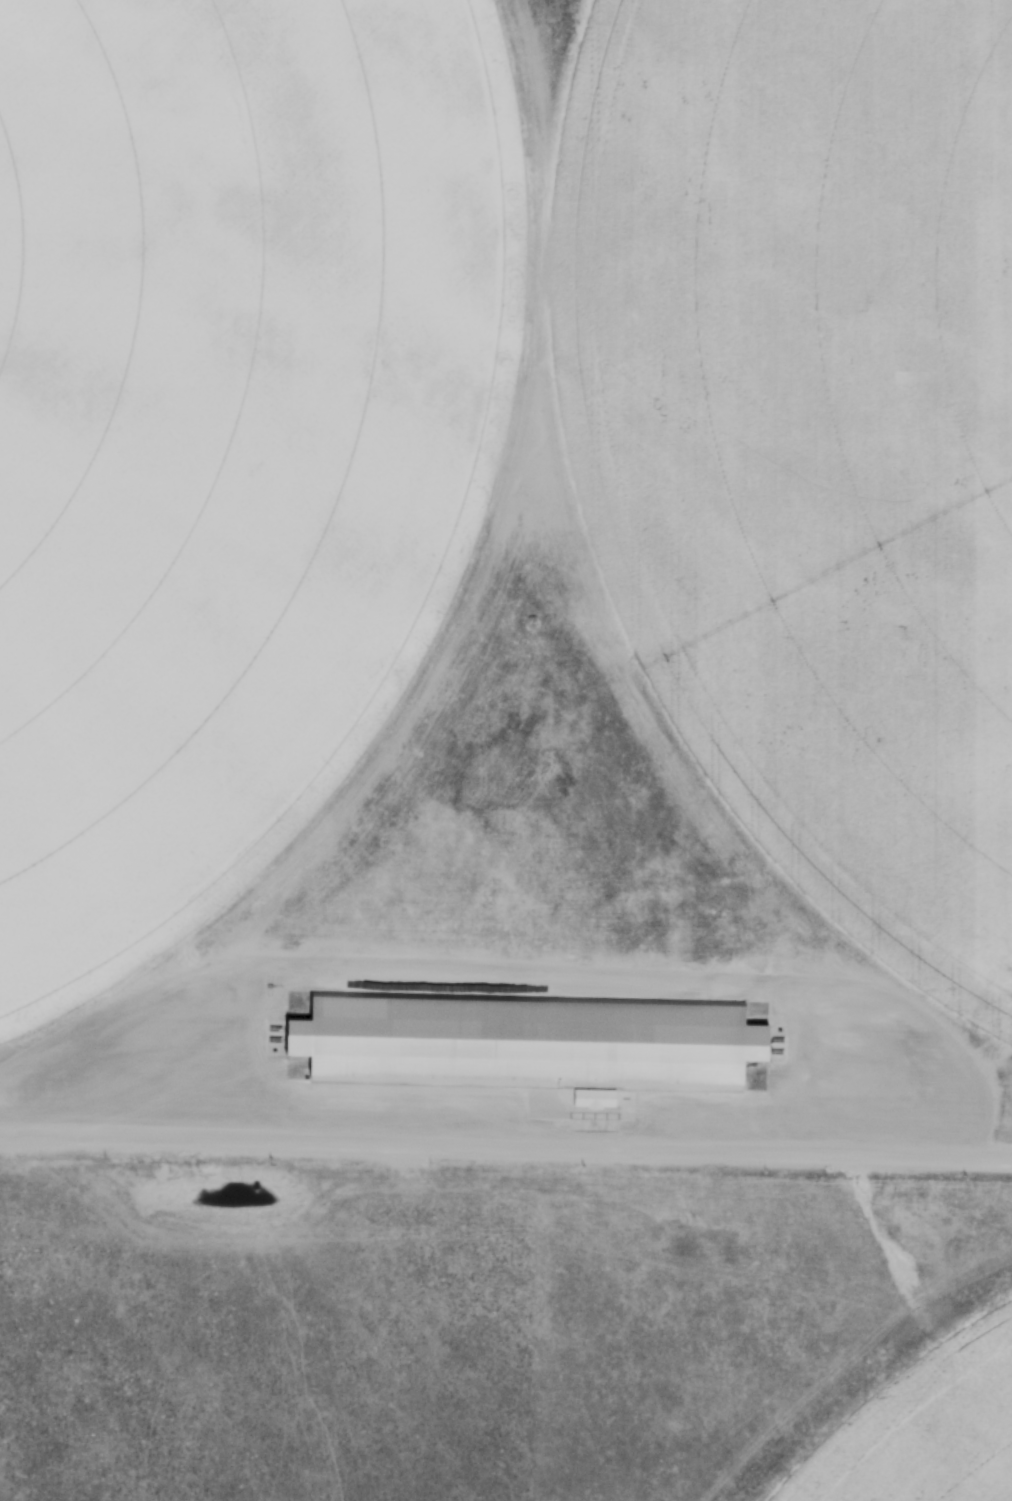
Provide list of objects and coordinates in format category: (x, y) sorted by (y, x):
crop: (230, 433)
crop: (808, 433)
building: (526, 1037)
road: (506, 1142)
crop: (927, 1430)

